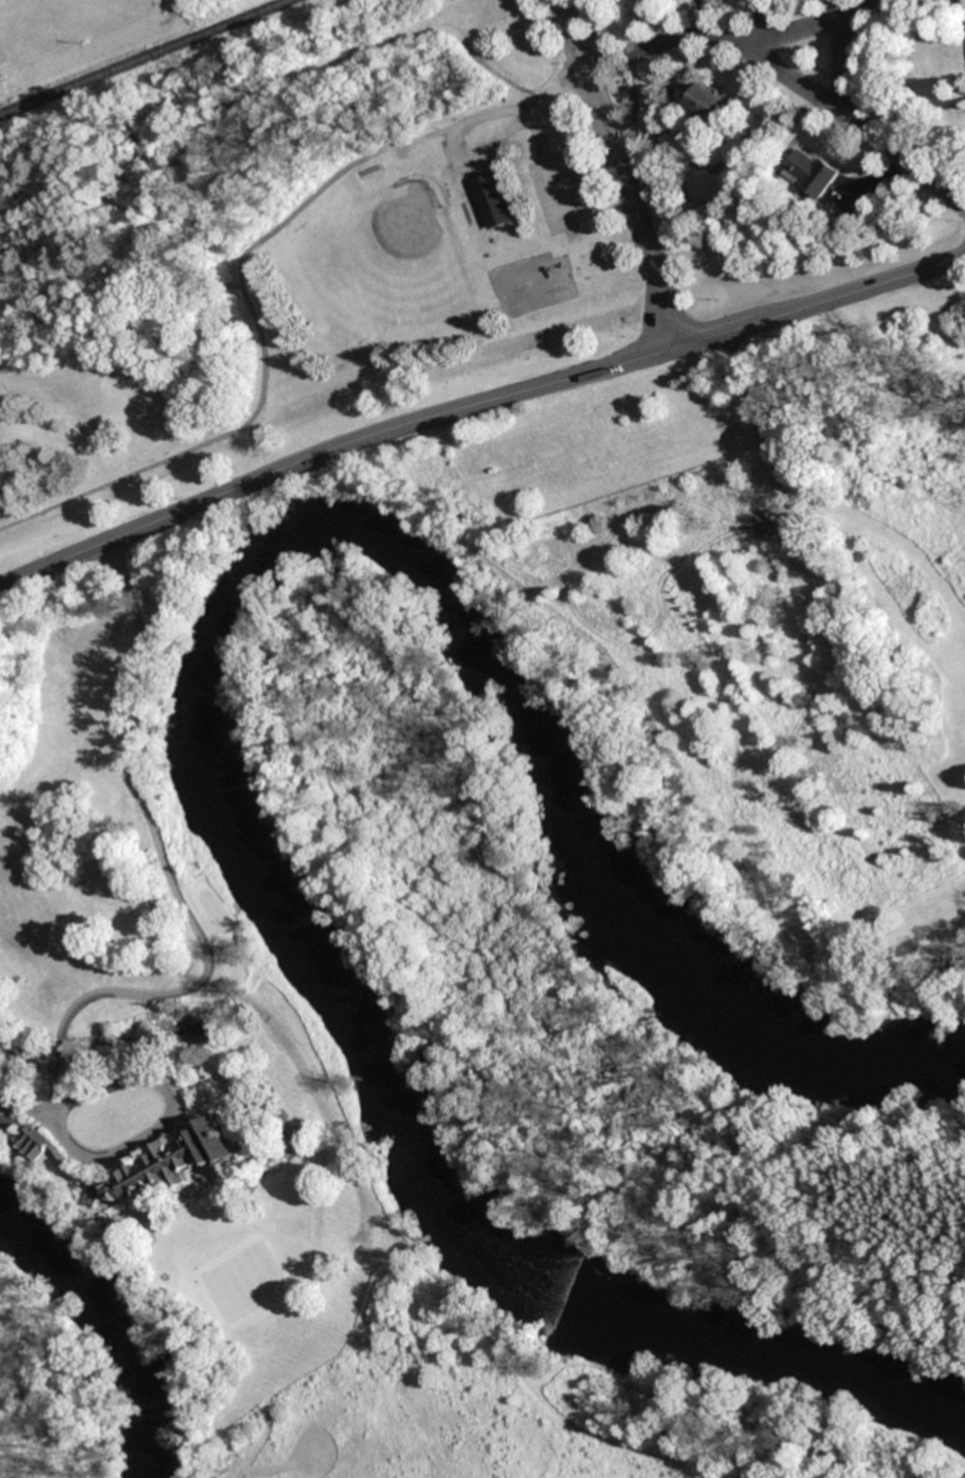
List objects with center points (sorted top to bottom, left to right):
road: (960, 18)
road: (807, 27)
road: (842, 64)
road: (786, 77)
road: (593, 94)
building: (709, 104)
road: (463, 120)
road: (548, 164)
building: (811, 173)
building: (491, 199)
park: (295, 255)
road: (653, 267)
road: (715, 269)
road: (899, 278)
road: (756, 323)
road: (332, 446)
road: (191, 448)
river: (212, 714)
road: (181, 905)
building: (173, 1160)
river: (106, 1329)

